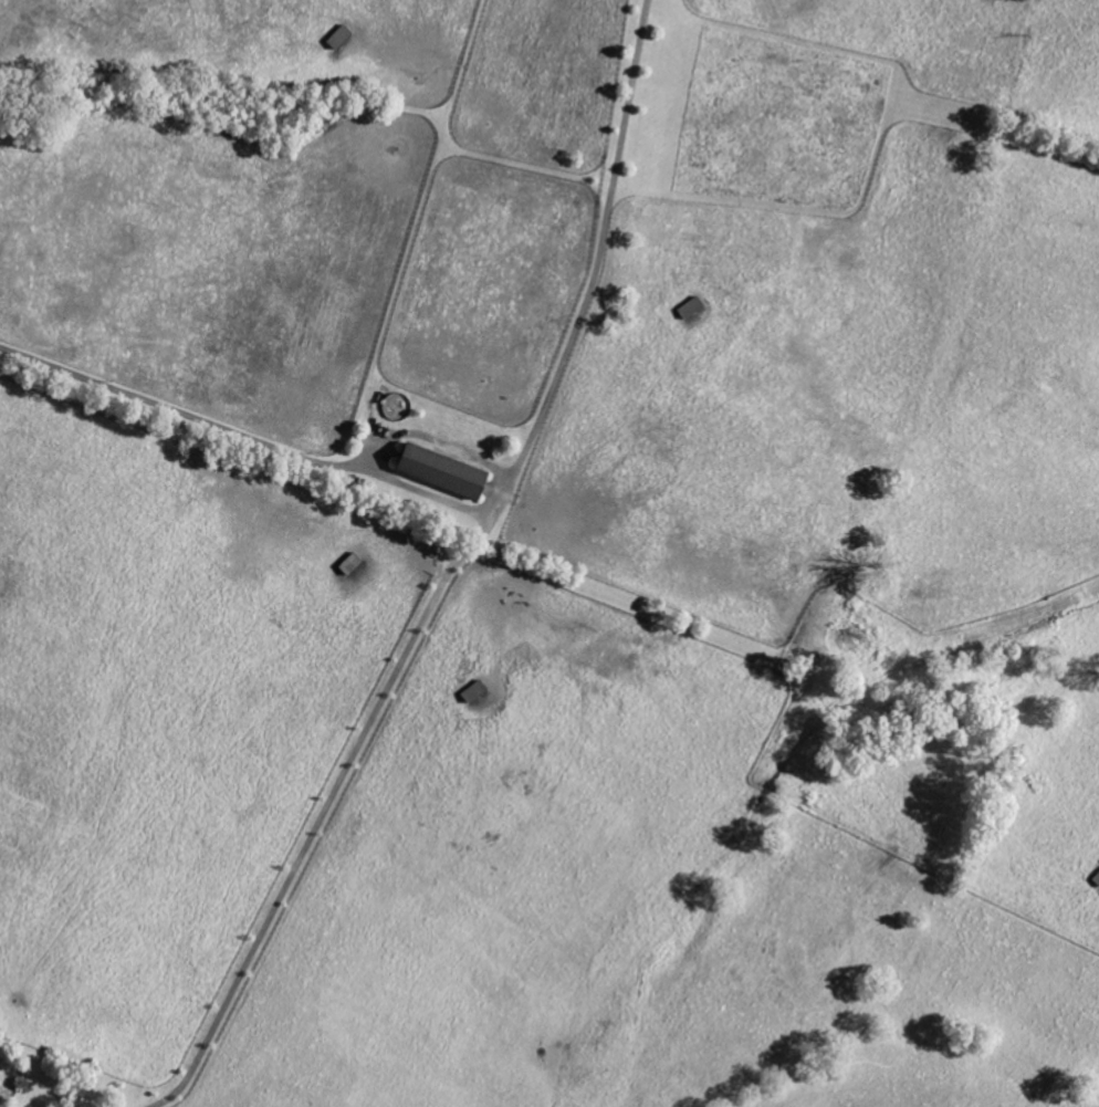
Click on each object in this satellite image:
building: (335, 38)
building: (685, 307)
road: (243, 437)
building: (432, 469)
building: (345, 563)
road: (450, 573)

